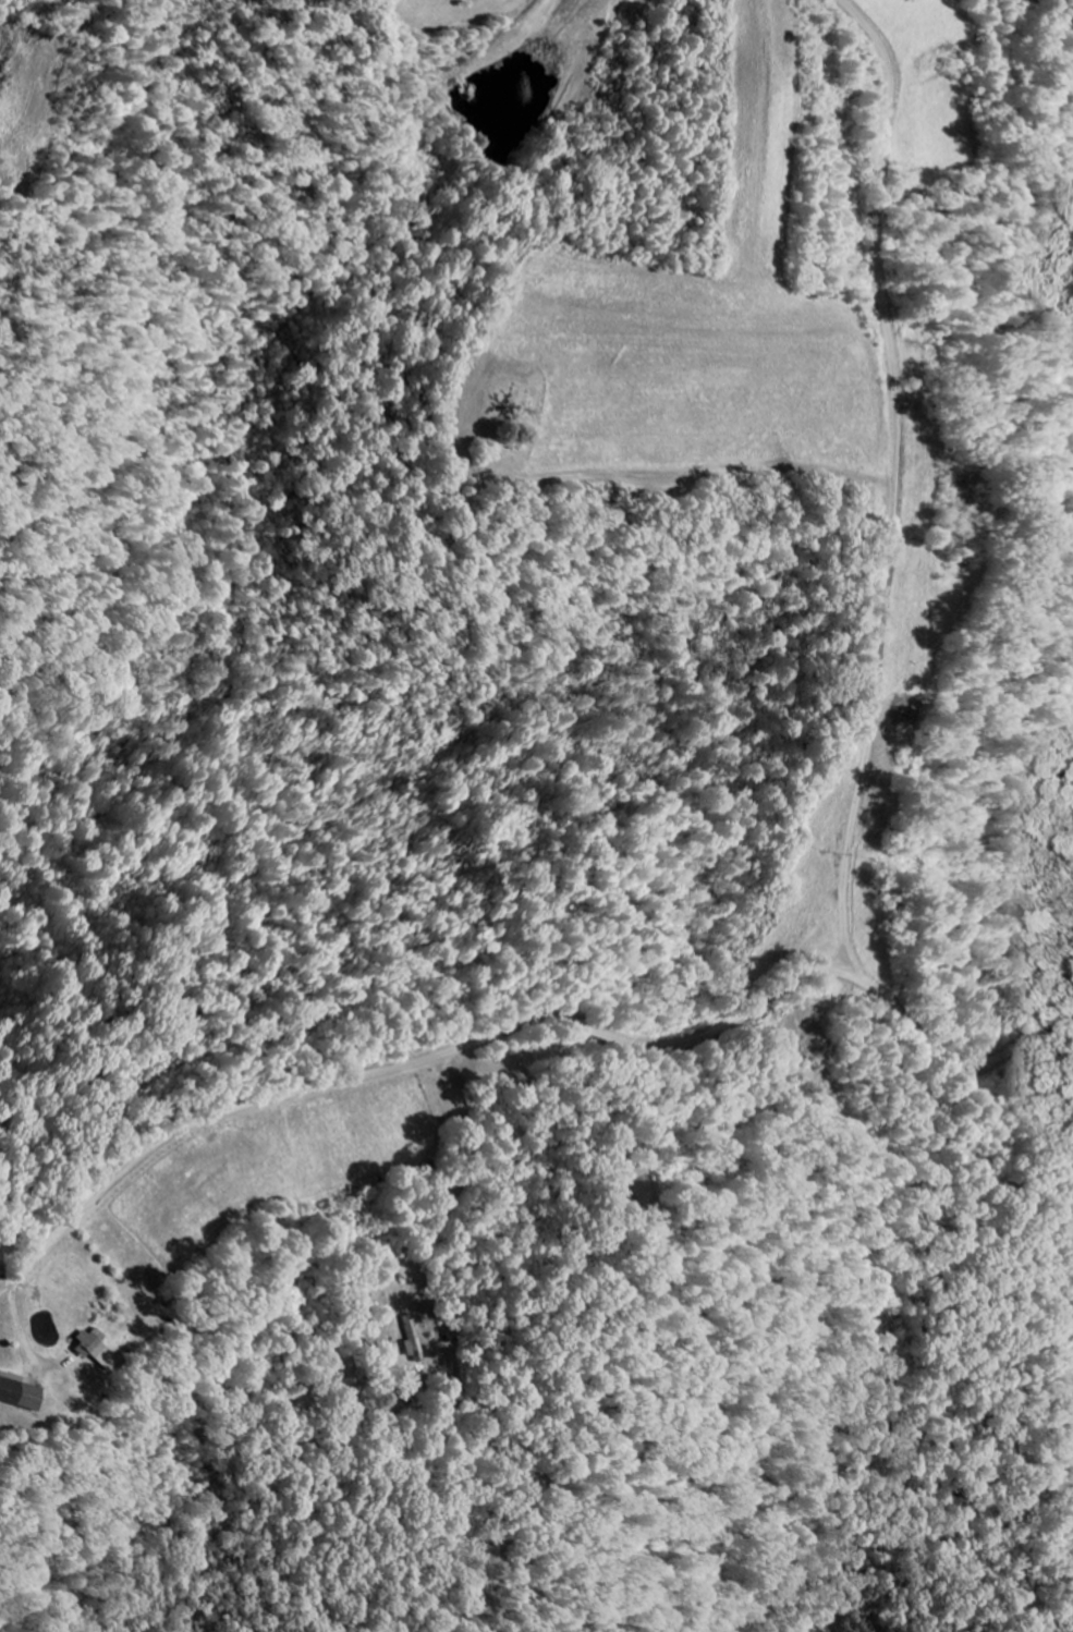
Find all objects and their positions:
road: (893, 482)
road: (536, 1023)
building: (81, 1344)
building: (11, 1394)

